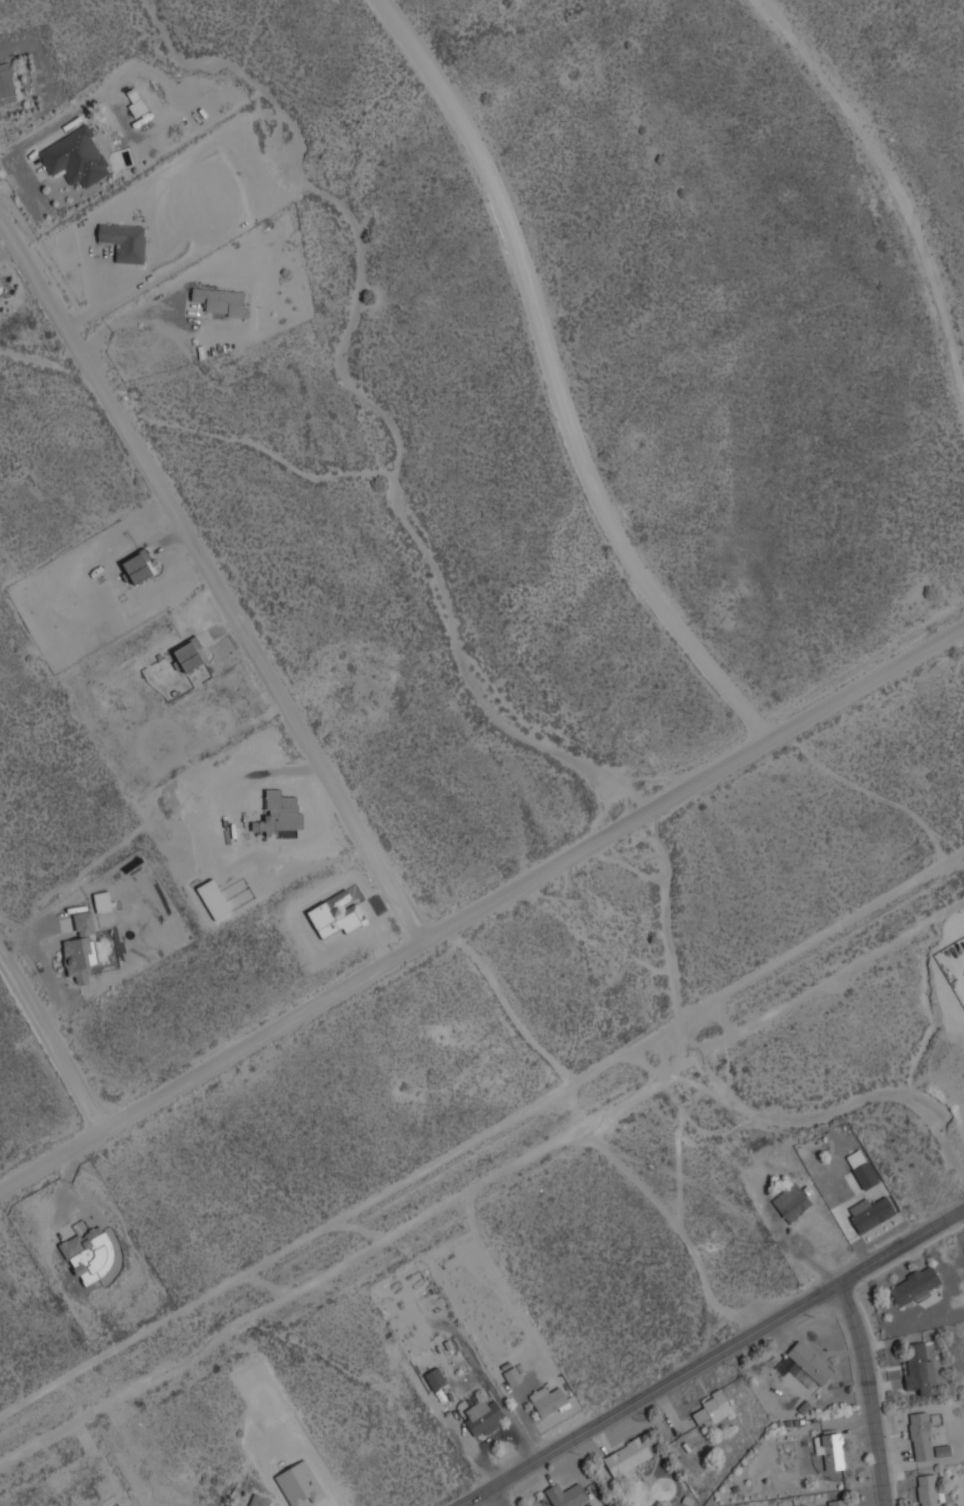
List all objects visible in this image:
building: (7, 84)
building: (133, 118)
building: (77, 156)
road: (891, 189)
building: (125, 241)
building: (222, 301)
road: (555, 381)
building: (140, 566)
road: (215, 579)
building: (190, 655)
road: (482, 906)
building: (84, 921)
road: (50, 1040)
building: (863, 1168)
road: (482, 1183)
building: (792, 1202)
building: (871, 1212)
building: (91, 1252)
building: (915, 1285)
road: (708, 1357)
building: (811, 1361)
building: (920, 1366)
building: (514, 1375)
building: (436, 1377)
road: (864, 1393)
building: (549, 1401)
building: (713, 1408)
building: (484, 1417)
building: (922, 1436)
building: (831, 1449)
building: (628, 1459)
building: (930, 1490)
building: (567, 1495)
road: (493, 1496)
building: (259, 1500)
building: (840, 1502)

